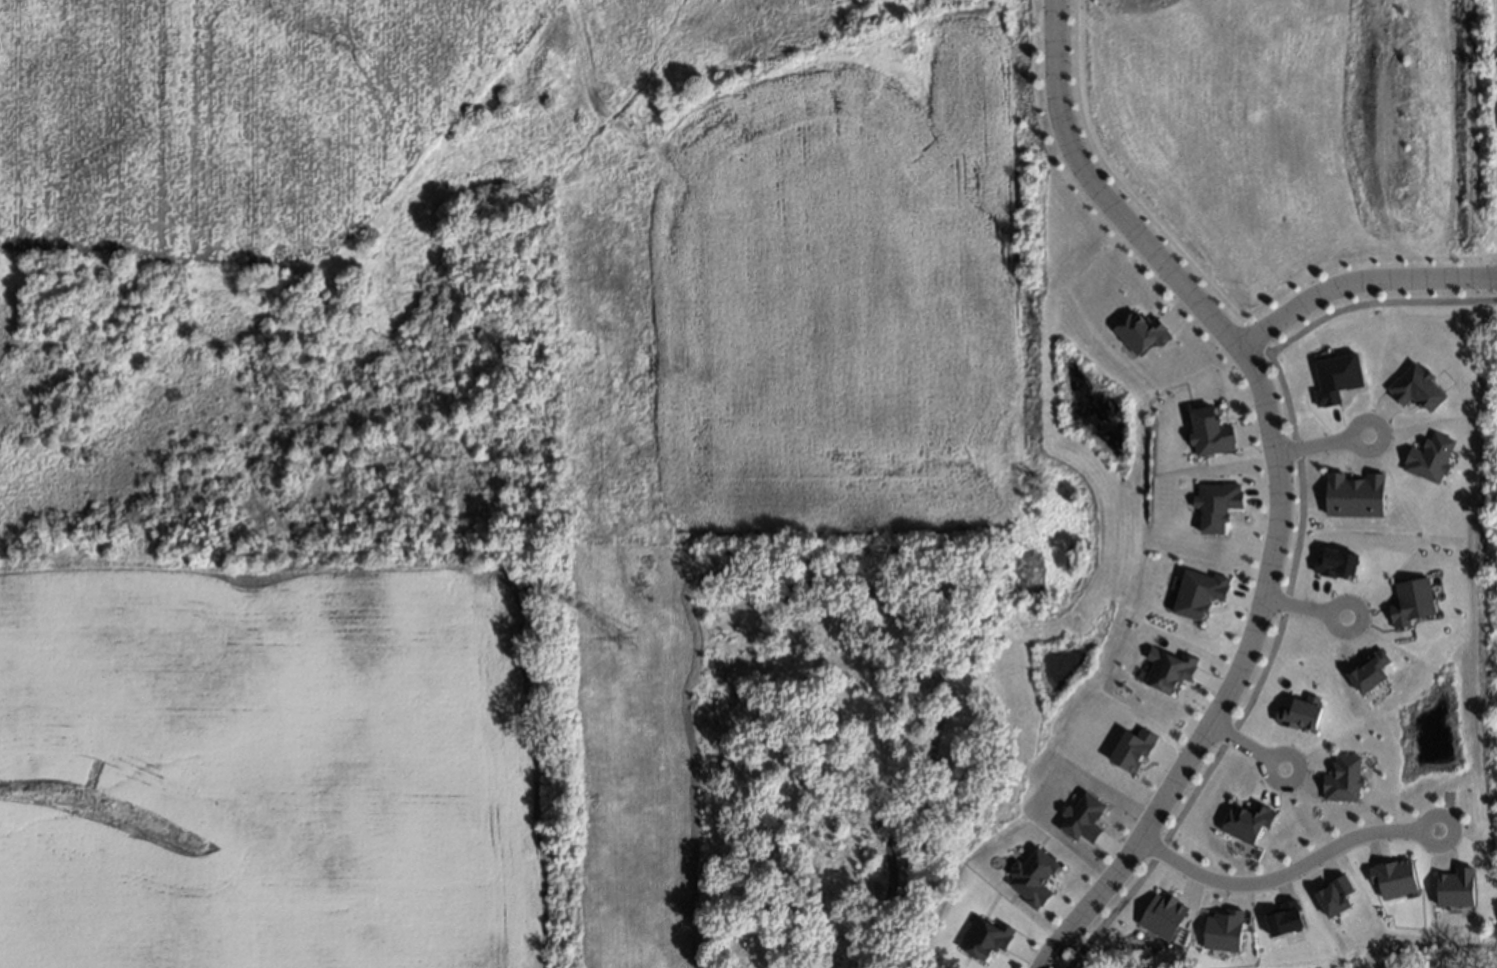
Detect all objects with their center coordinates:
road: (1050, 5)
road: (1051, 5)
road: (1356, 282)
road: (1374, 301)
building: (1140, 332)
building: (1337, 378)
building: (1417, 388)
building: (1207, 431)
road: (1349, 433)
road: (1311, 446)
building: (1430, 457)
road: (1276, 485)
building: (1352, 490)
building: (1217, 504)
building: (1337, 564)
building: (1199, 593)
road: (1339, 602)
building: (1411, 602)
road: (1292, 606)
power tower: (623, 630)
building: (1169, 670)
road: (1259, 671)
building: (1367, 673)
building: (1300, 713)
road: (1235, 741)
building: (1133, 749)
road: (1262, 776)
building: (1343, 779)
building: (1083, 818)
building: (1245, 820)
road: (1418, 827)
road: (1277, 874)
building: (1033, 877)
building: (1395, 877)
building: (1456, 888)
building: (1335, 896)
building: (1163, 915)
building: (1284, 920)
building: (1224, 930)
building: (987, 938)

